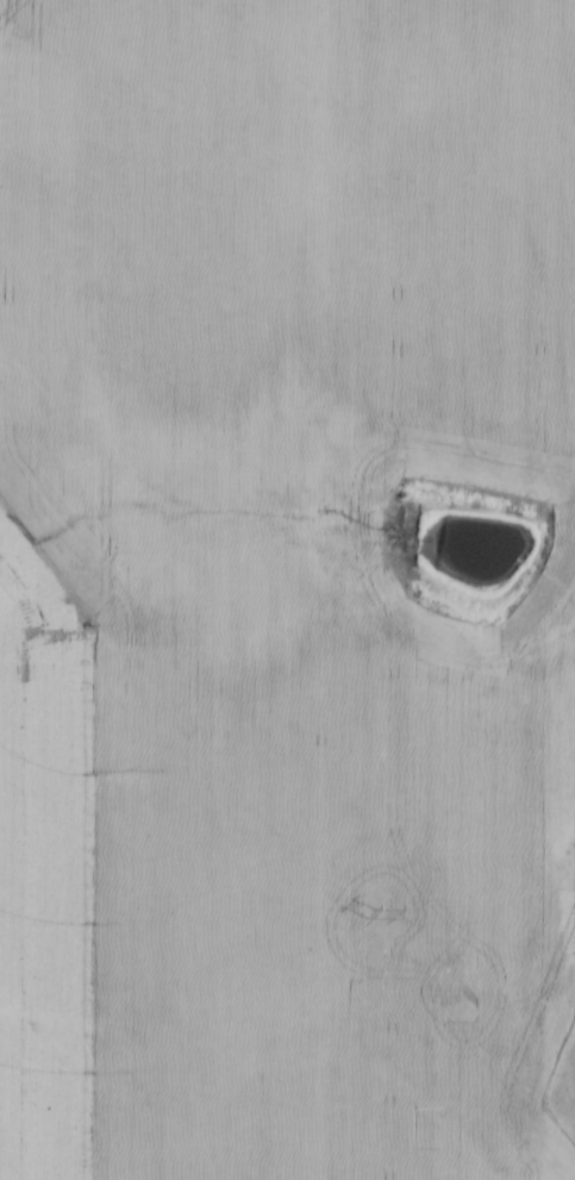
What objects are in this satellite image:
power tower: (371, 916)

